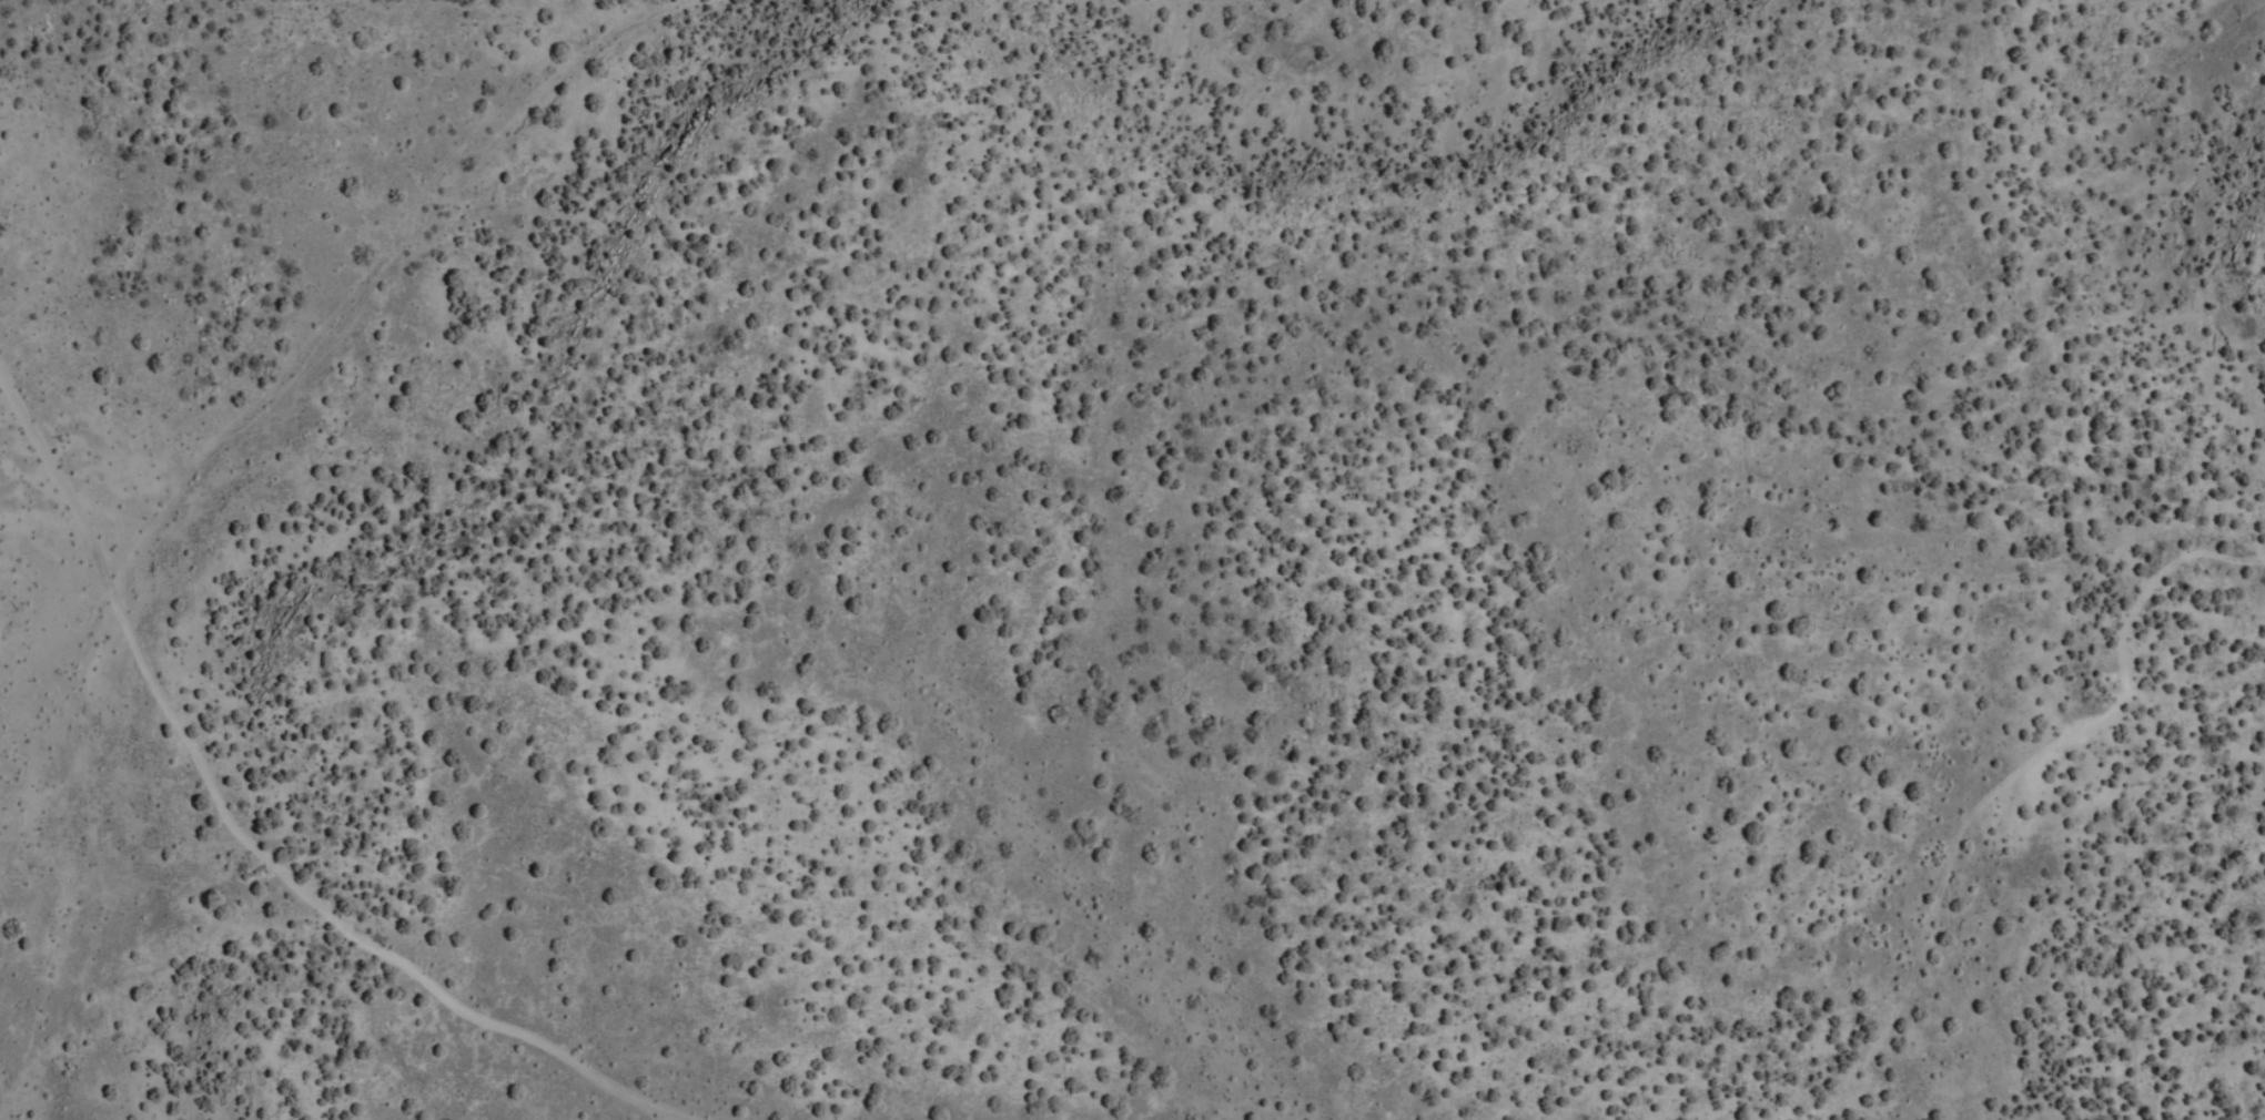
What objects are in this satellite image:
road: (2028, 808)

